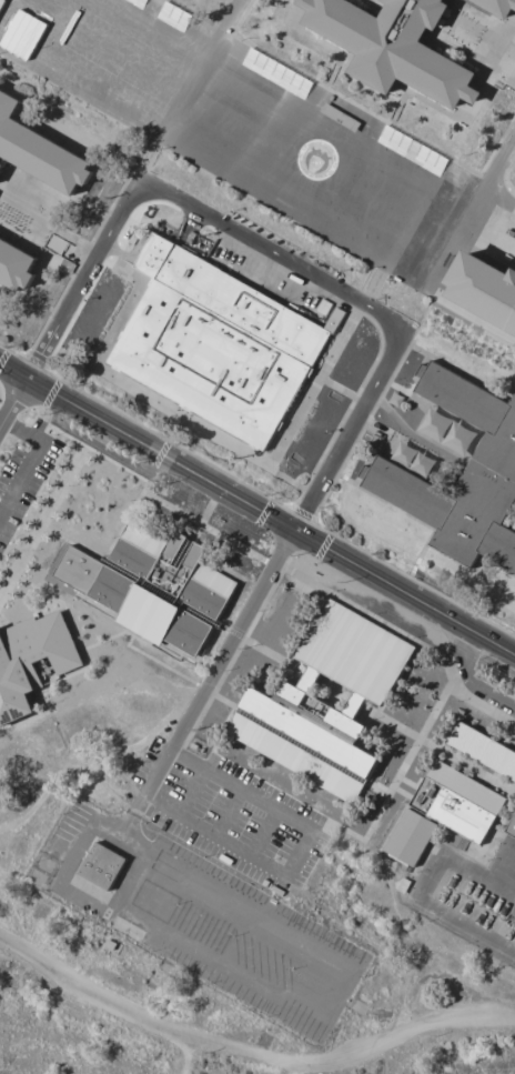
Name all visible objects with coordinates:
building: (1, 3)
building: (498, 7)
building: (394, 44)
road: (205, 67)
building: (276, 73)
road: (293, 104)
building: (411, 151)
building: (39, 154)
road: (495, 178)
road: (502, 198)
road: (271, 252)
building: (485, 290)
building: (219, 344)
road: (13, 405)
street lamp: (339, 433)
building: (448, 433)
road: (30, 461)
building: (415, 461)
building: (492, 468)
road: (257, 506)
street lamp: (375, 559)
street lamp: (317, 560)
building: (514, 578)
building: (153, 591)
building: (32, 662)
building: (335, 683)
road: (213, 684)
building: (483, 750)
building: (291, 756)
building: (458, 803)
building: (513, 833)
road: (9, 839)
building: (411, 839)
building: (102, 867)
road: (235, 970)
road: (248, 1056)

